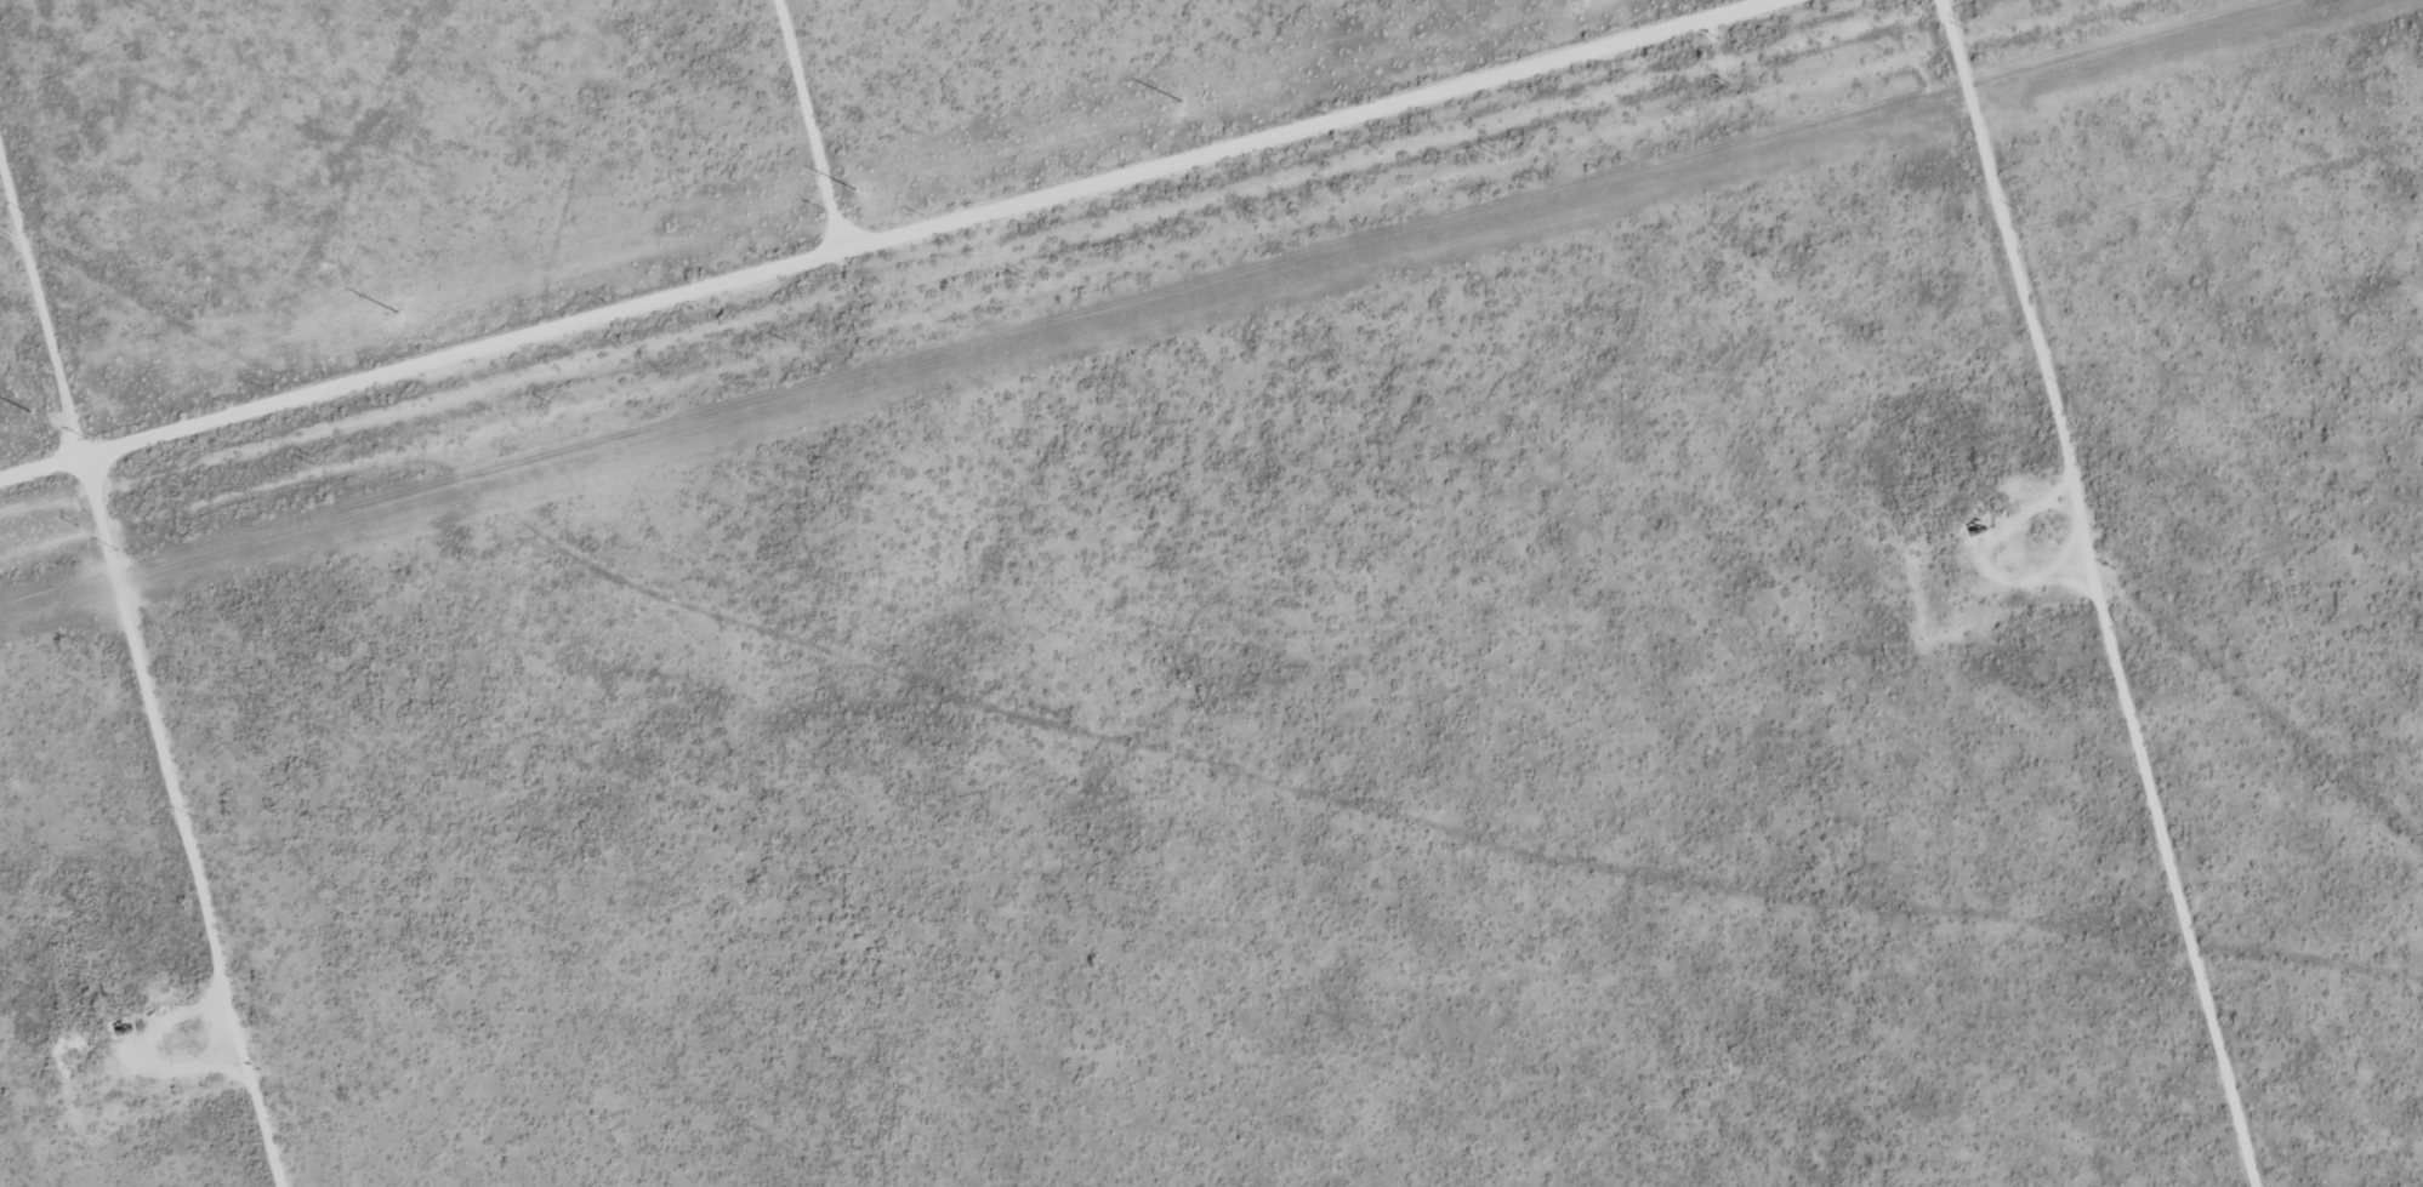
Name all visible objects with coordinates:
road: (891, 239)
road: (142, 683)

